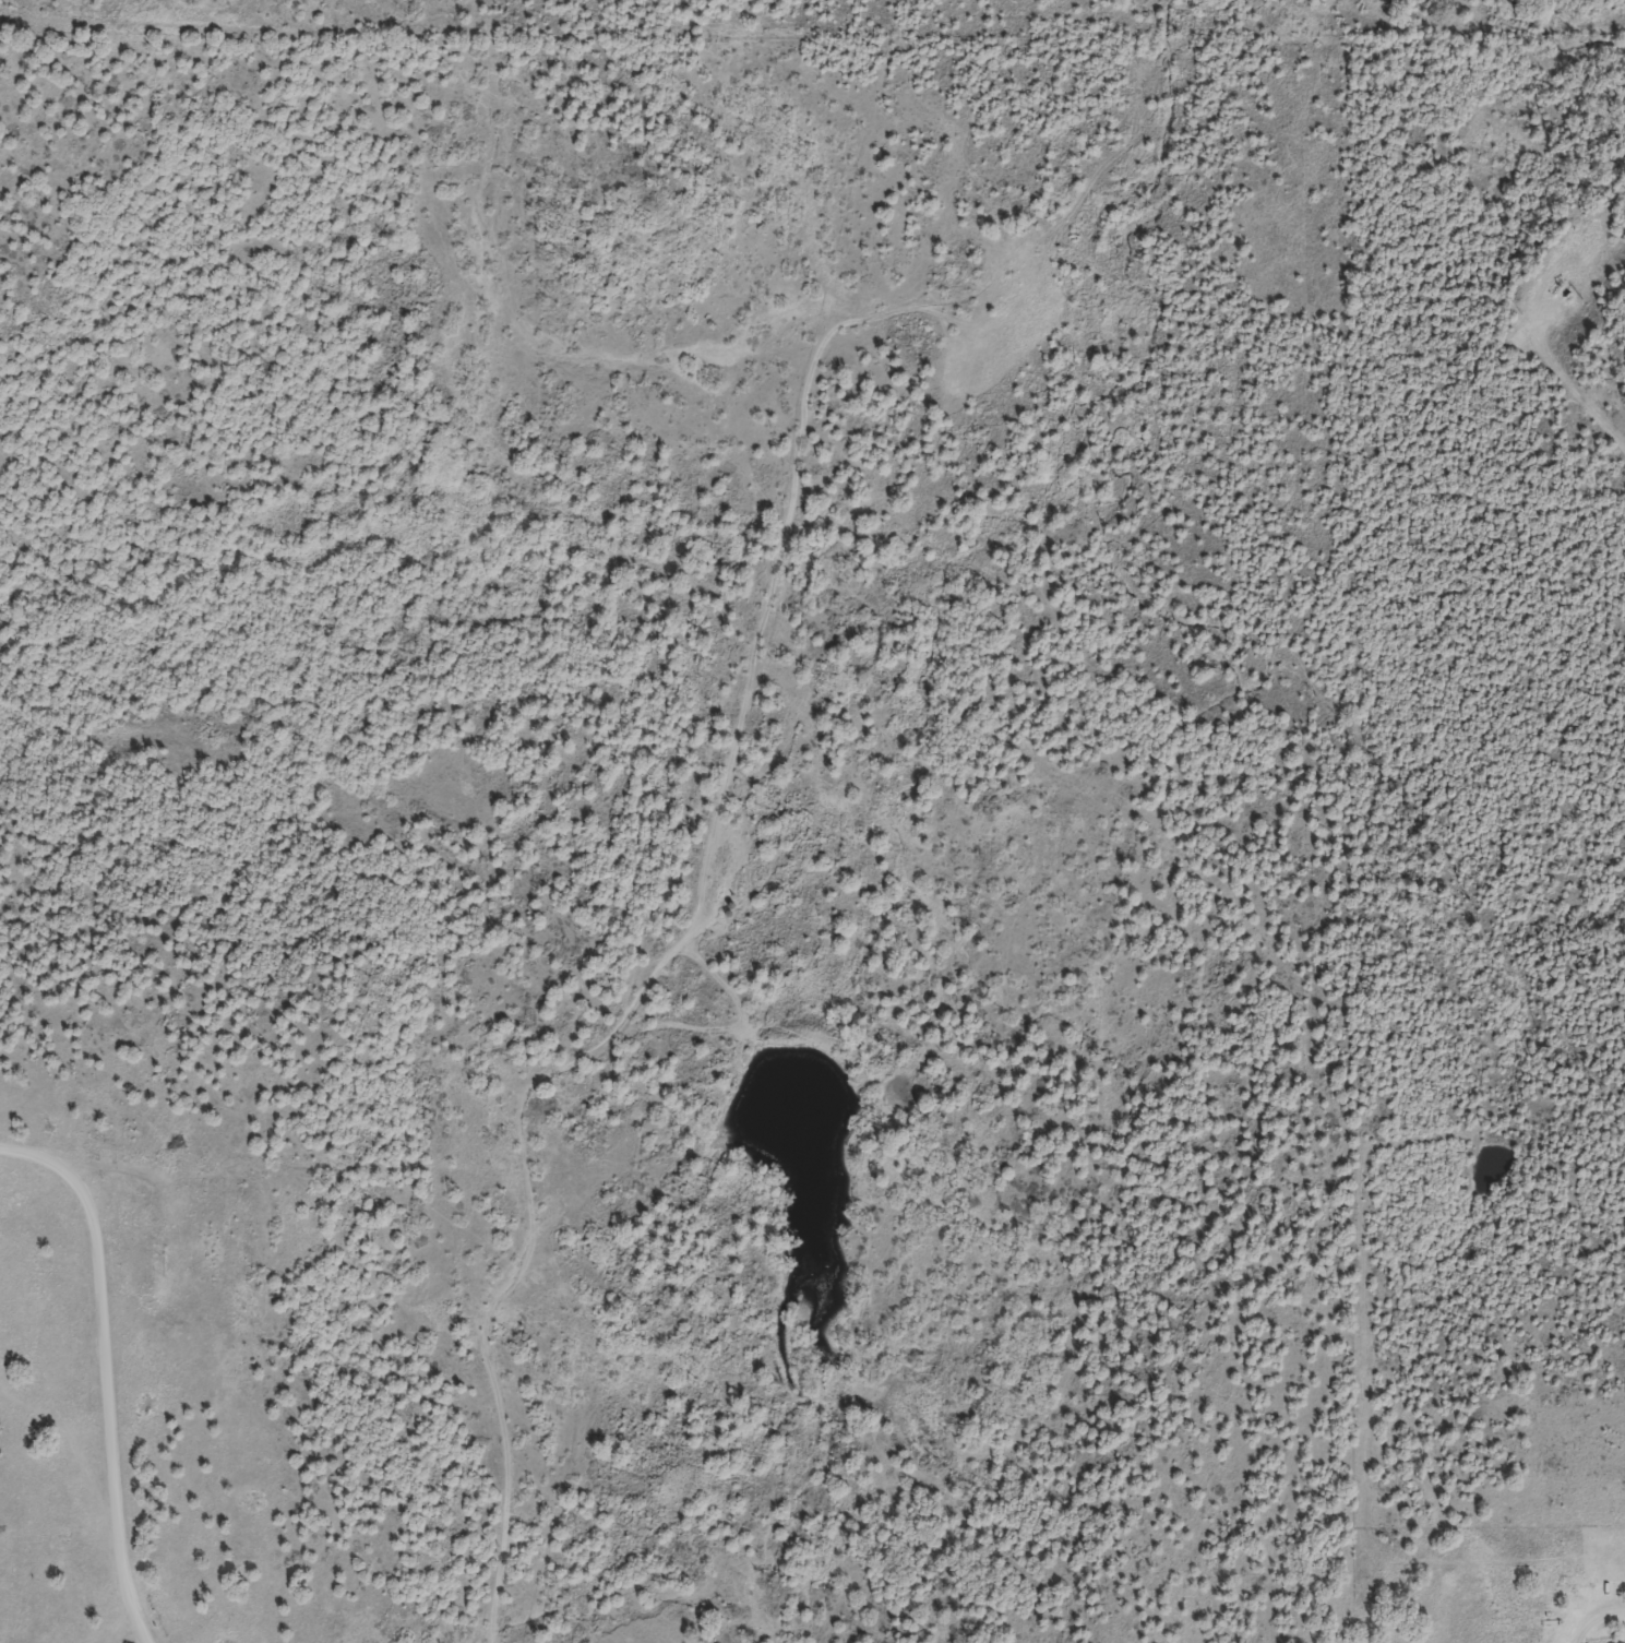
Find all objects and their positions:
road: (223, 253)

